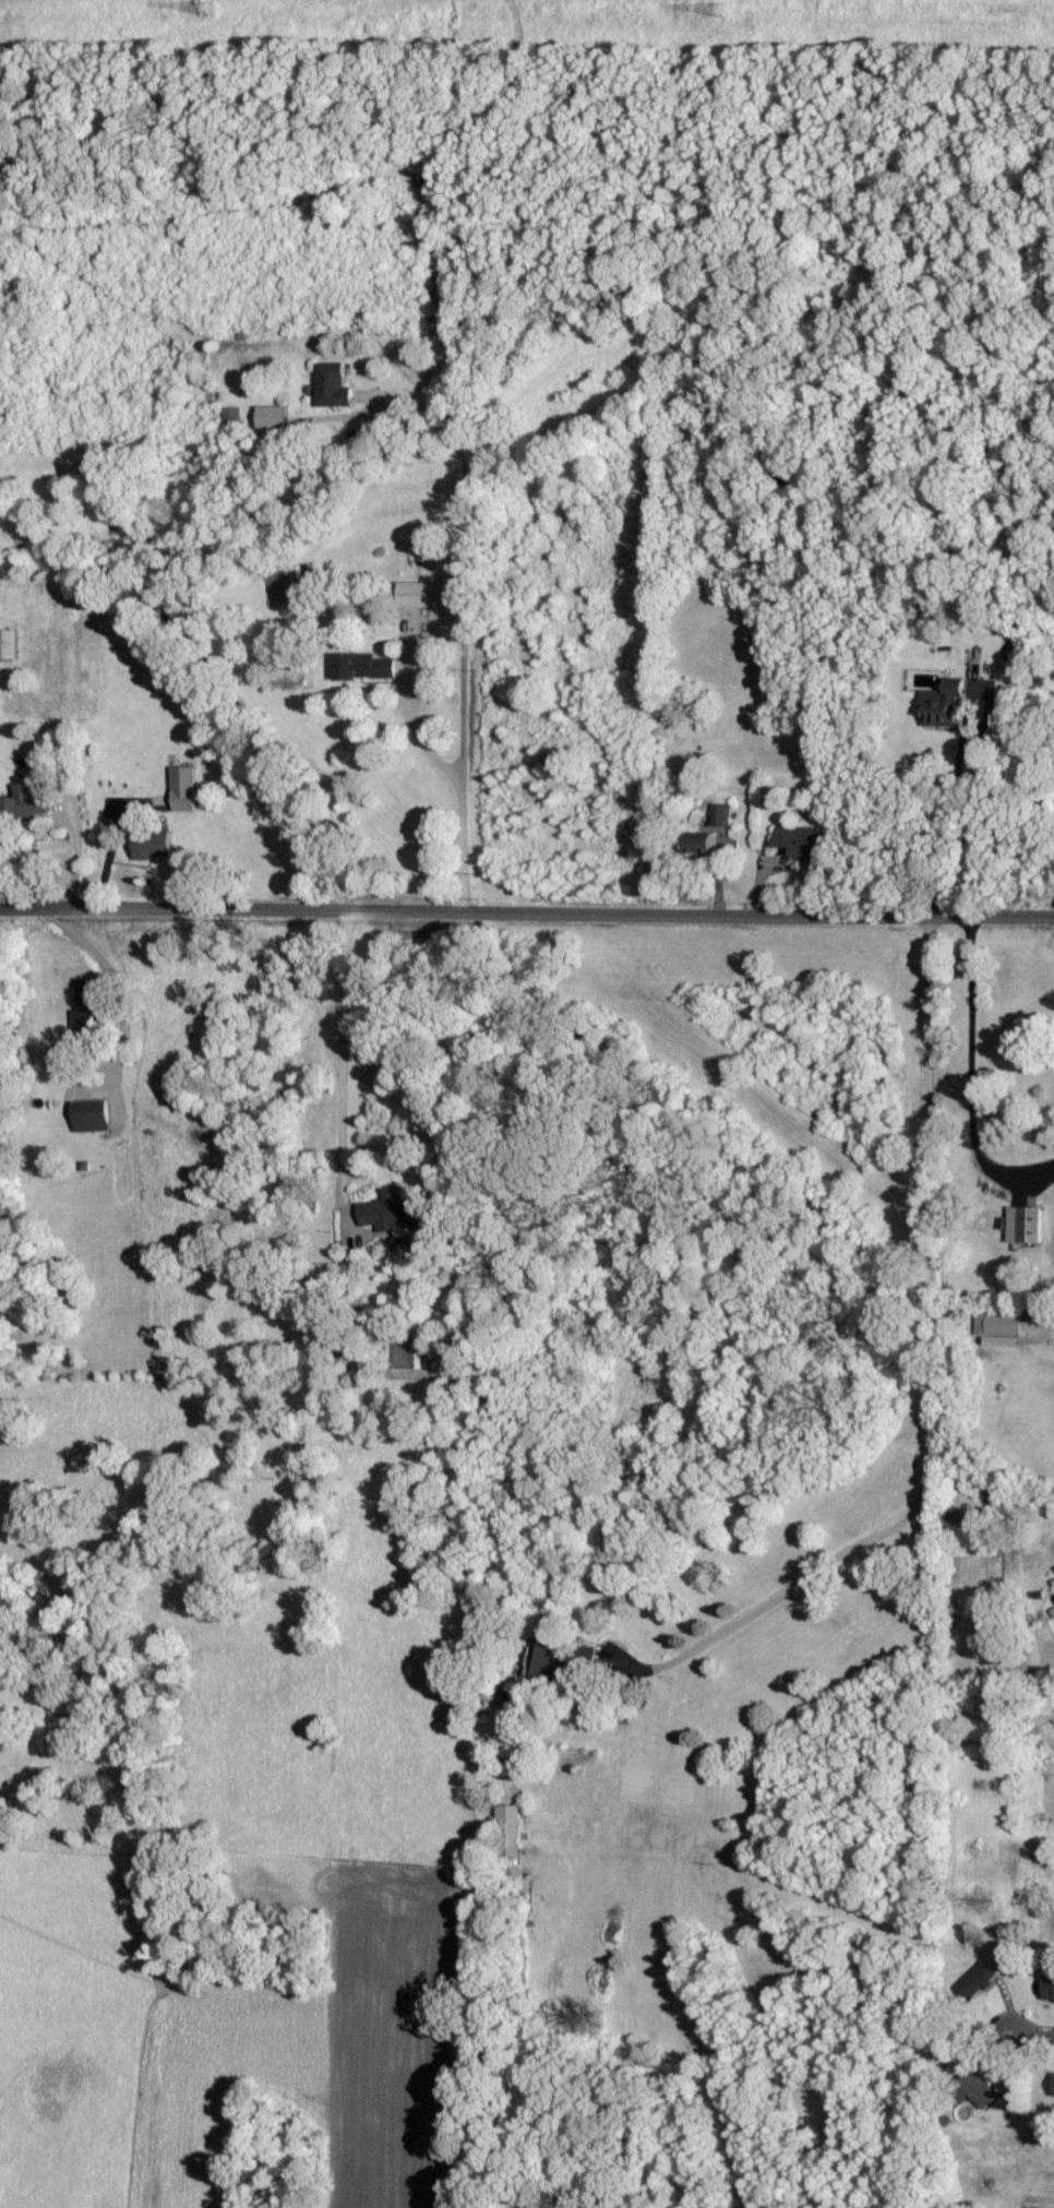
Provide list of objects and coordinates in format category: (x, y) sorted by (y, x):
building: (332, 385)
building: (232, 414)
building: (273, 417)
building: (415, 593)
road: (465, 637)
building: (9, 643)
building: (363, 665)
building: (942, 703)
road: (958, 754)
building: (184, 787)
building: (24, 803)
building: (722, 813)
building: (799, 838)
building: (153, 844)
building: (697, 844)
road: (463, 909)
road: (990, 912)
road: (113, 994)
building: (85, 1011)
building: (57, 1052)
road: (345, 1062)
road: (972, 1074)
building: (92, 1114)
building: (390, 1210)
building: (1026, 1224)
building: (999, 1323)
road: (931, 1370)
building: (586, 1655)
building: (543, 1656)
building: (510, 1830)
building: (978, 1980)
building: (1049, 1989)
road: (1030, 2036)
building: (978, 2089)

